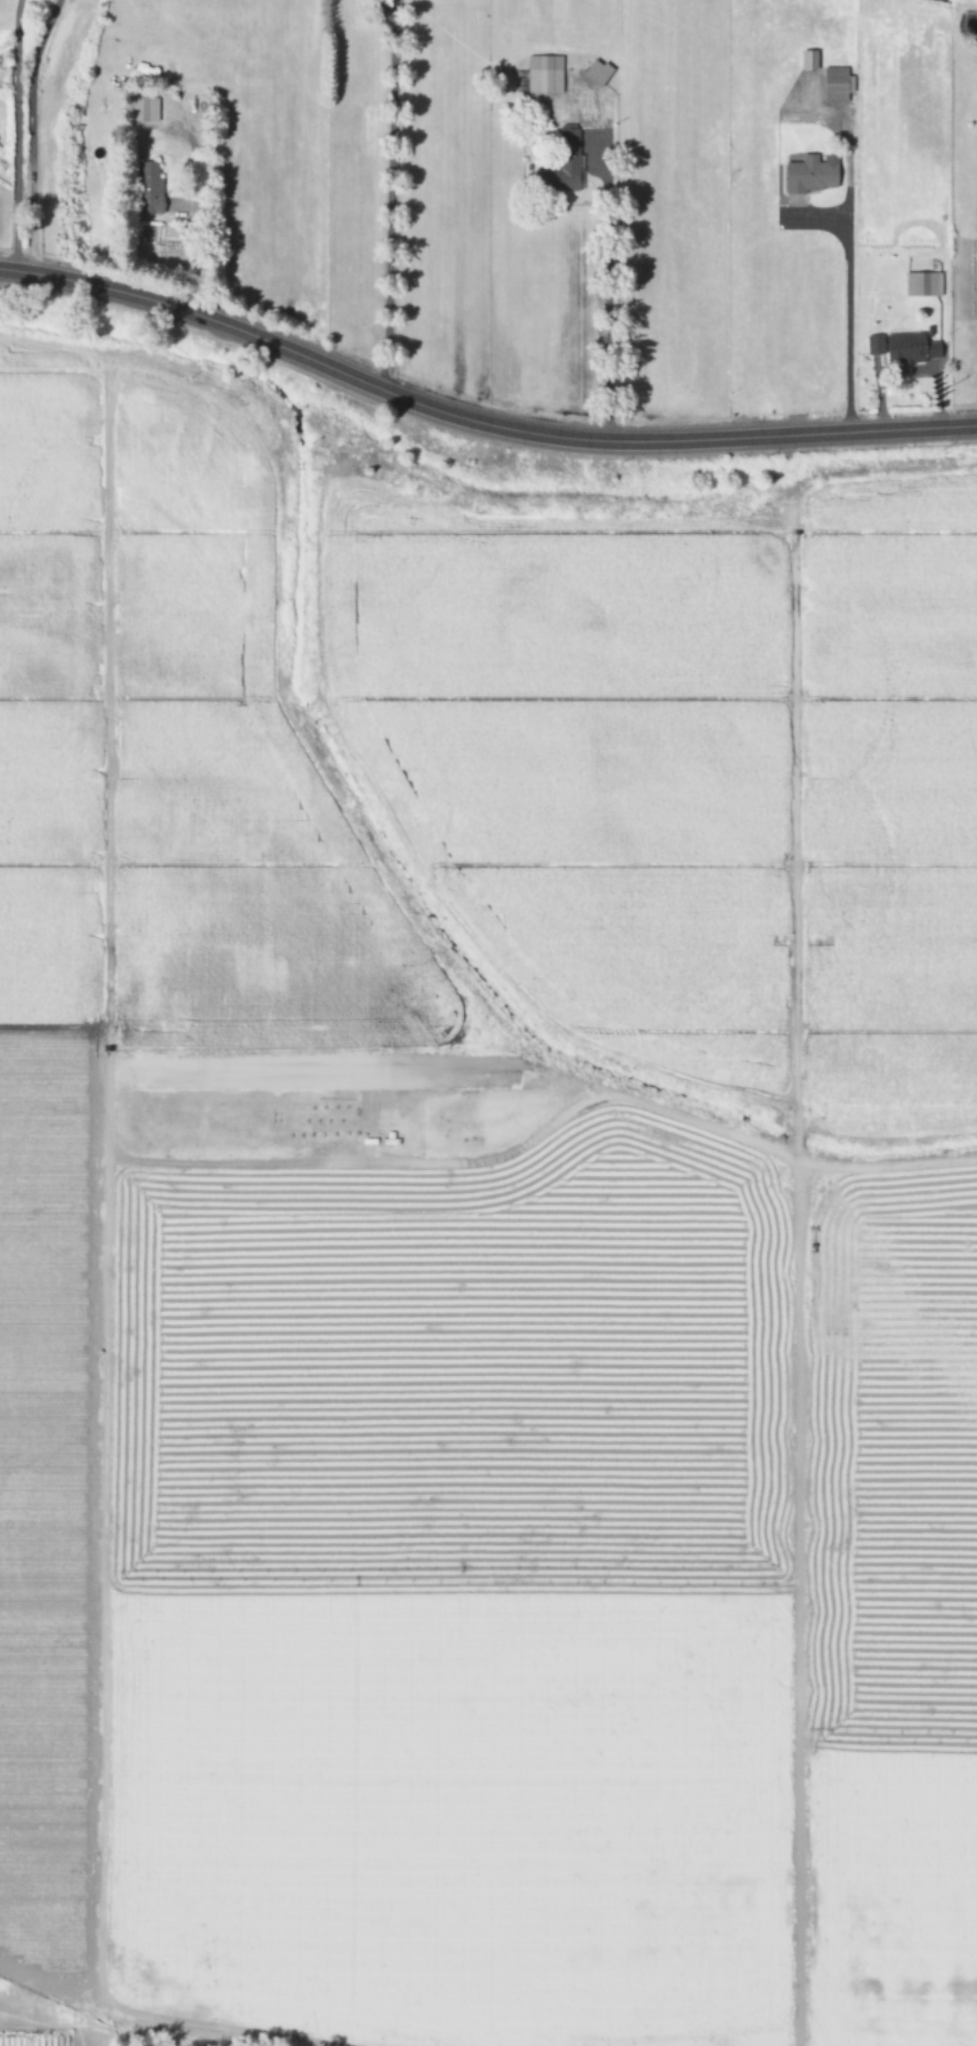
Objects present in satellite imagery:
building: (808, 60)
building: (596, 73)
building: (544, 75)
building: (837, 84)
building: (140, 110)
road: (17, 135)
building: (812, 175)
crop: (546, 187)
building: (149, 189)
road: (387, 201)
building: (923, 285)
building: (905, 348)
road: (476, 422)
crop: (389, 1232)
crop: (885, 1258)

